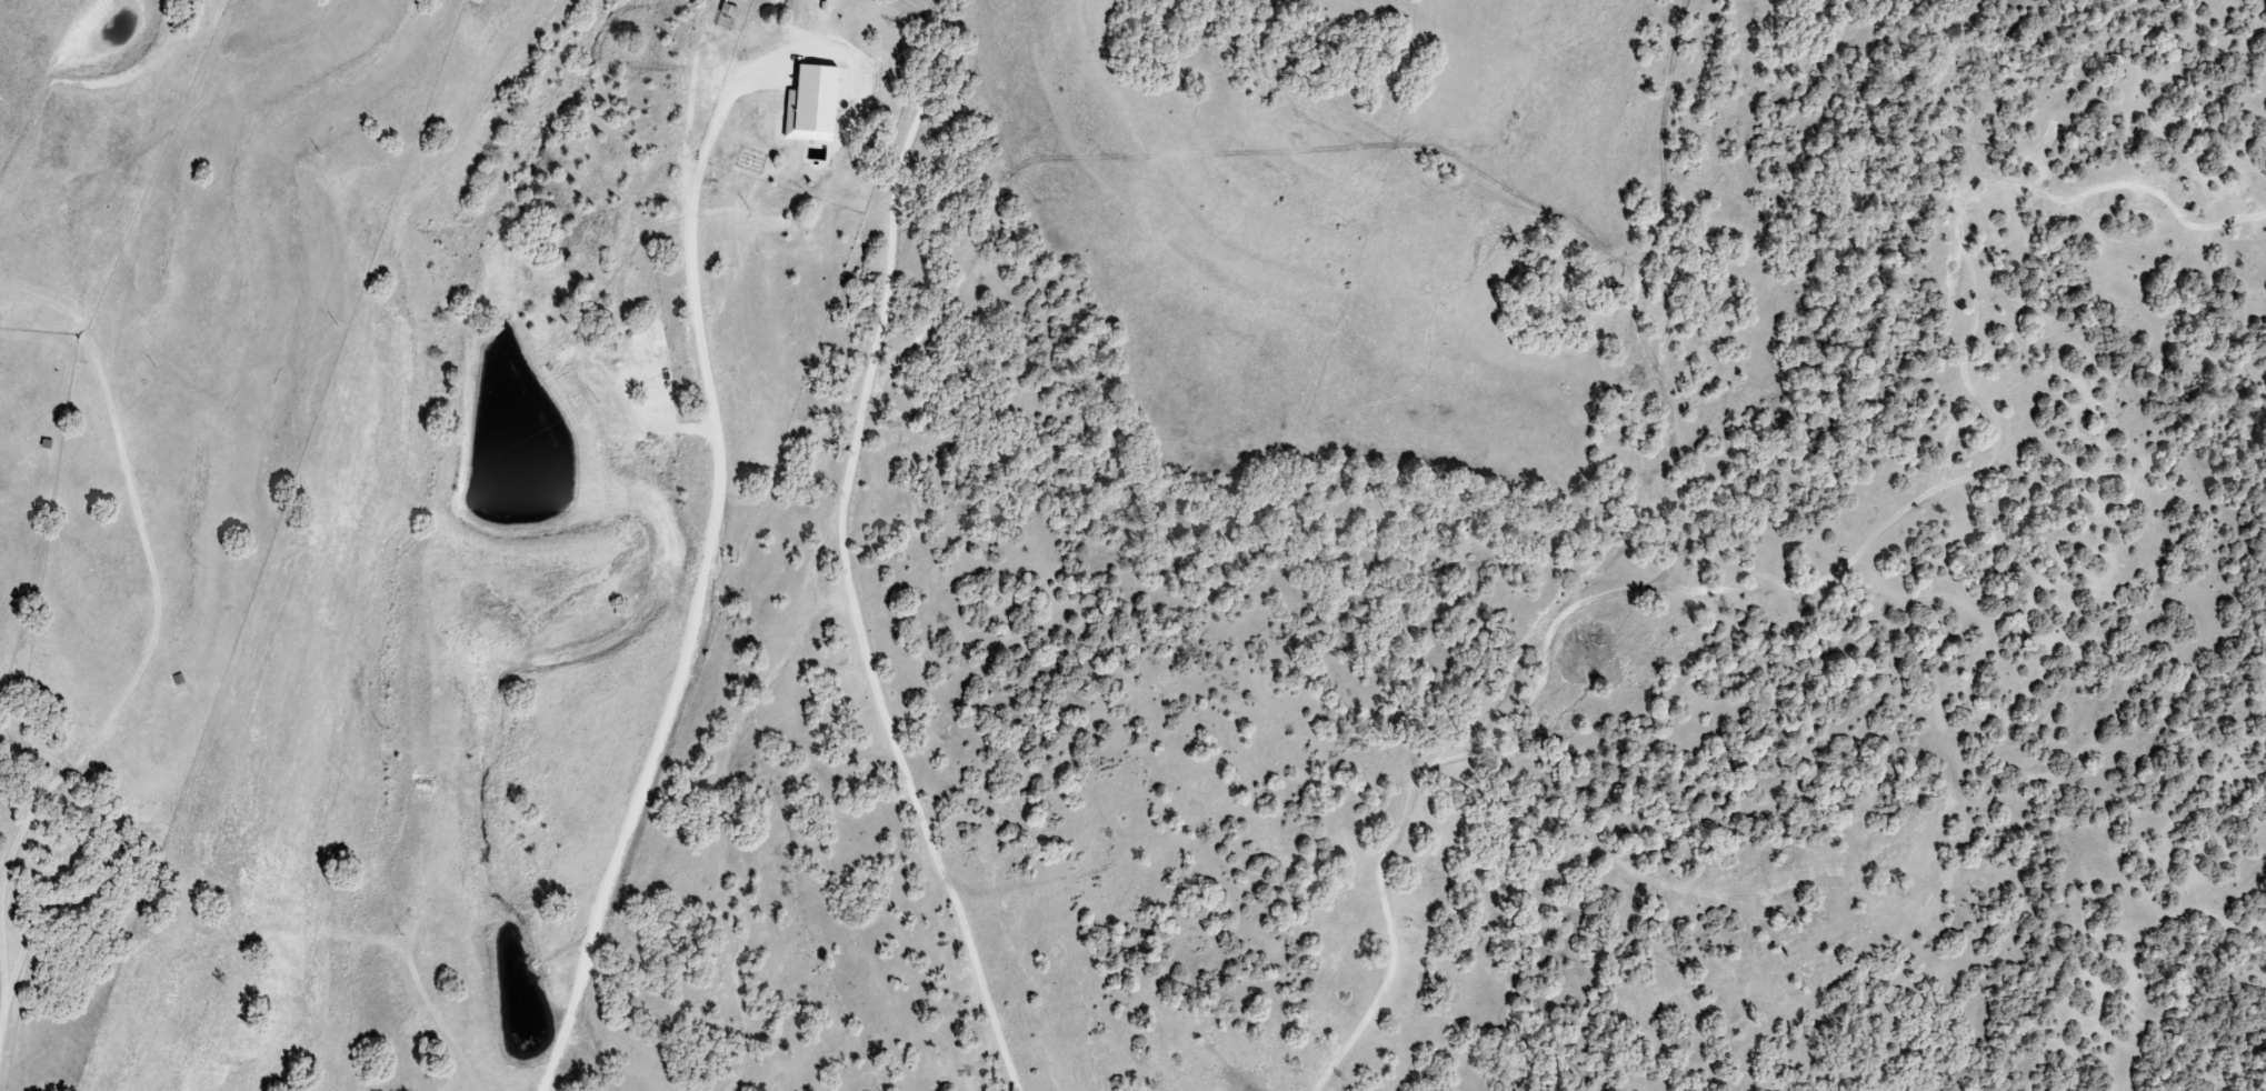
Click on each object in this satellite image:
road: (845, 554)
road: (707, 627)

